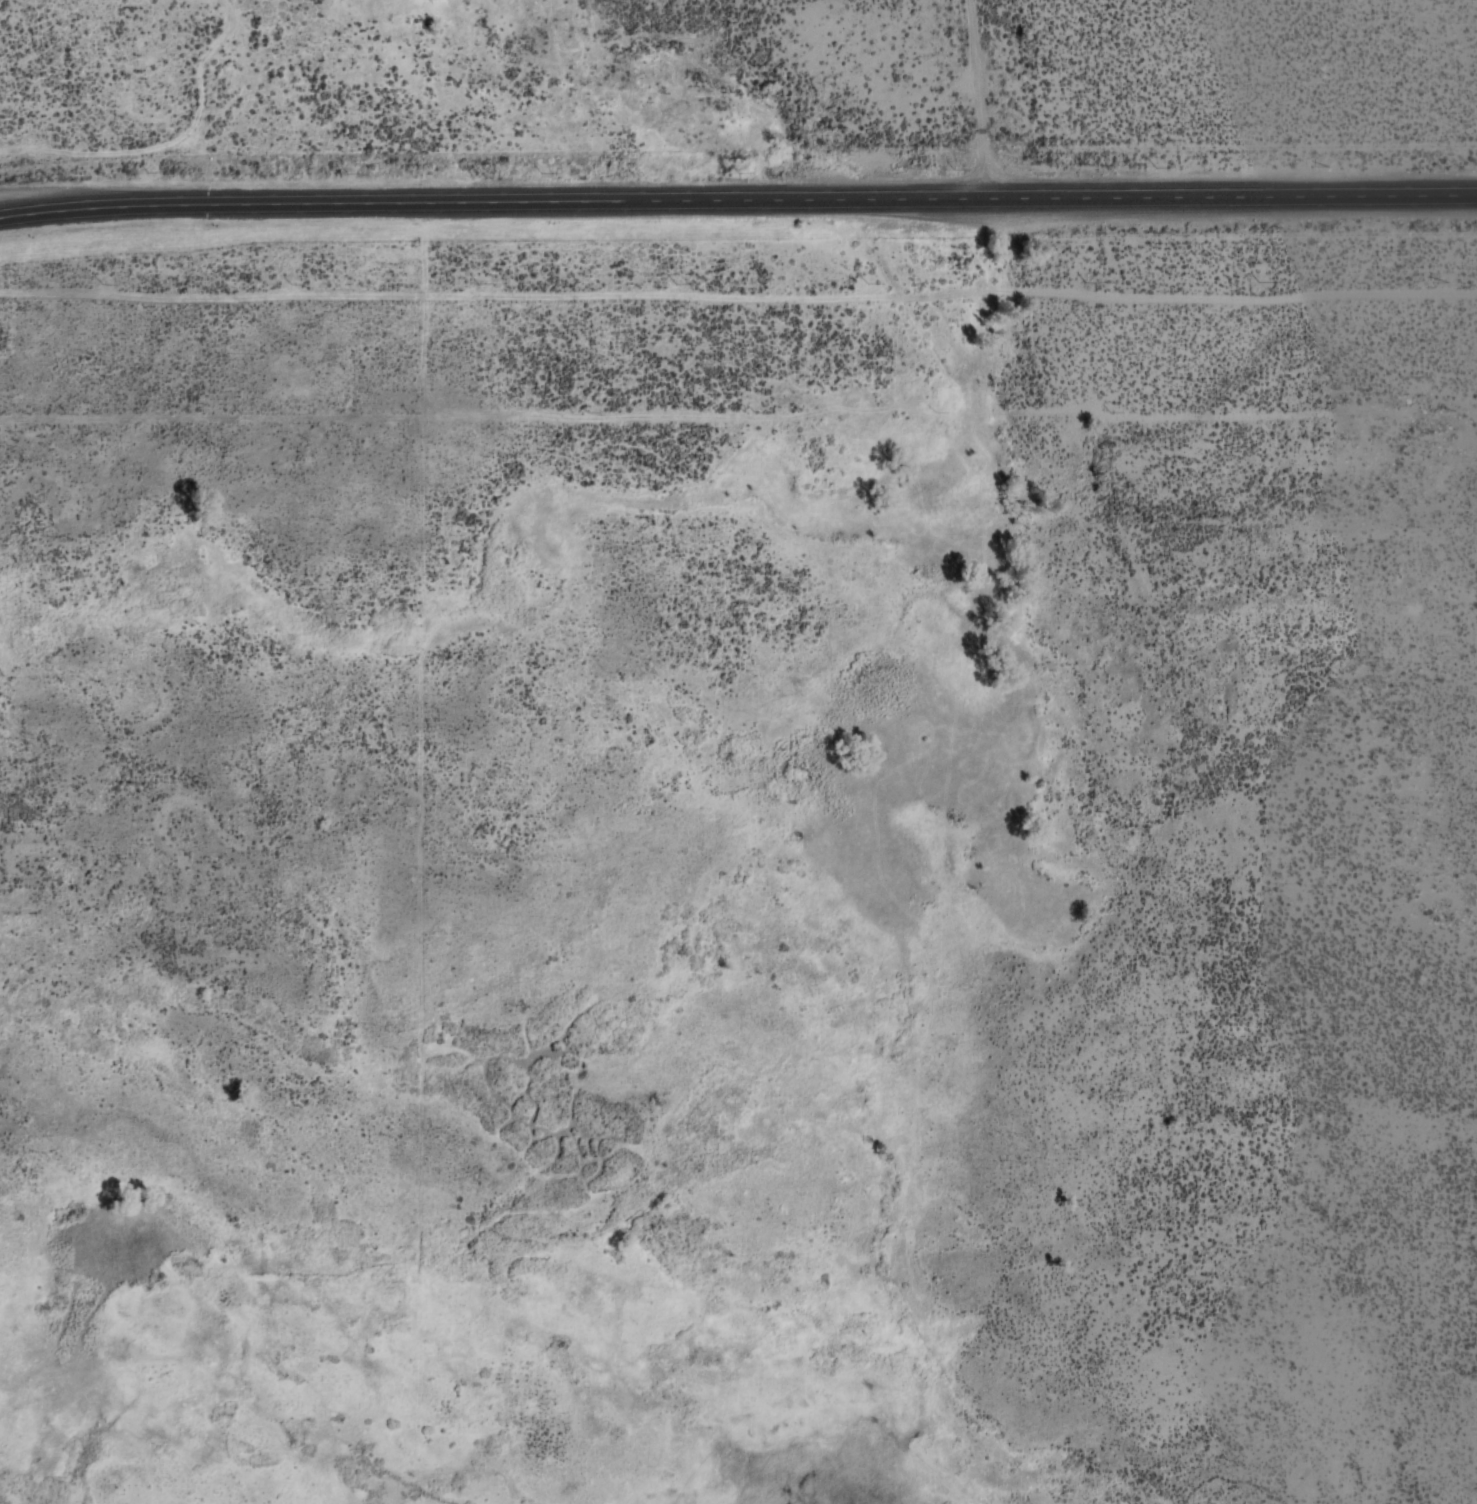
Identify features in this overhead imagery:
road: (978, 100)
road: (738, 202)
road: (2, 212)
road: (739, 290)
road: (1237, 423)
road: (468, 424)
road: (982, 1497)

